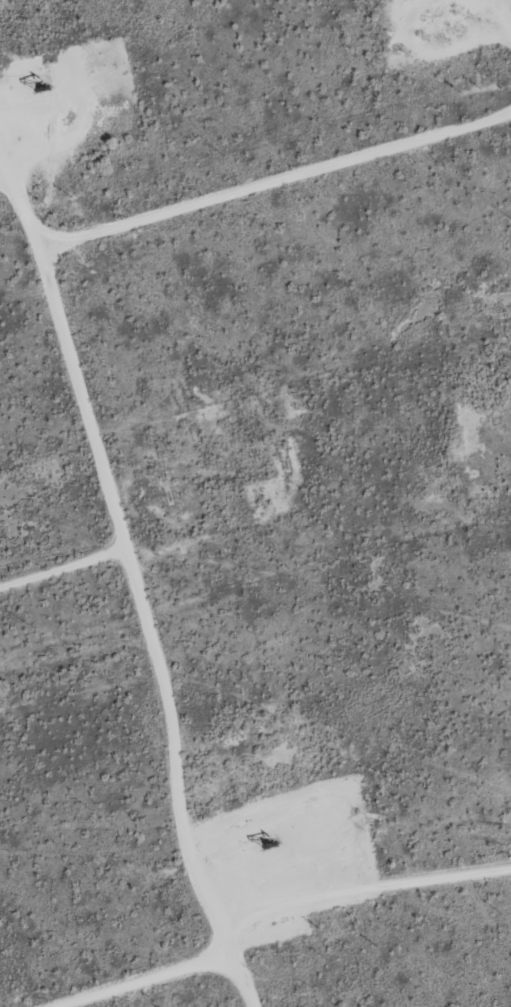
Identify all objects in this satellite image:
petroleum well: (35, 84)
road: (278, 180)
road: (137, 590)
petroleum well: (263, 845)

